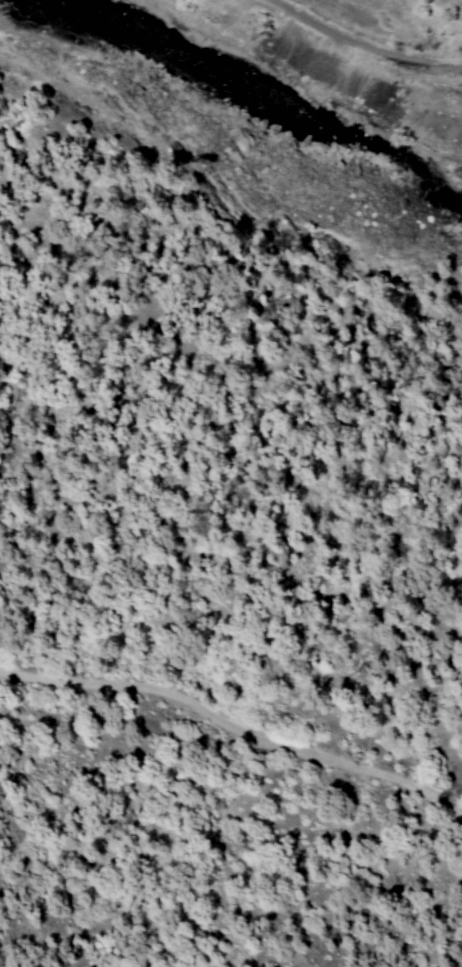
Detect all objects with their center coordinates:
road: (365, 41)
river: (269, 117)

